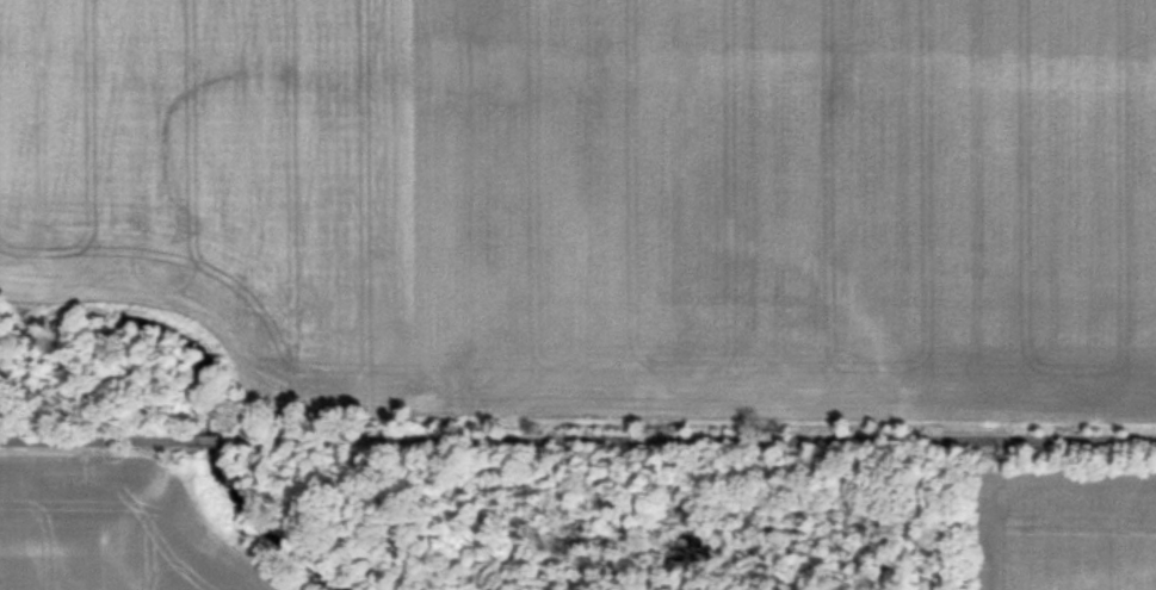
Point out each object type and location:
road: (577, 436)

